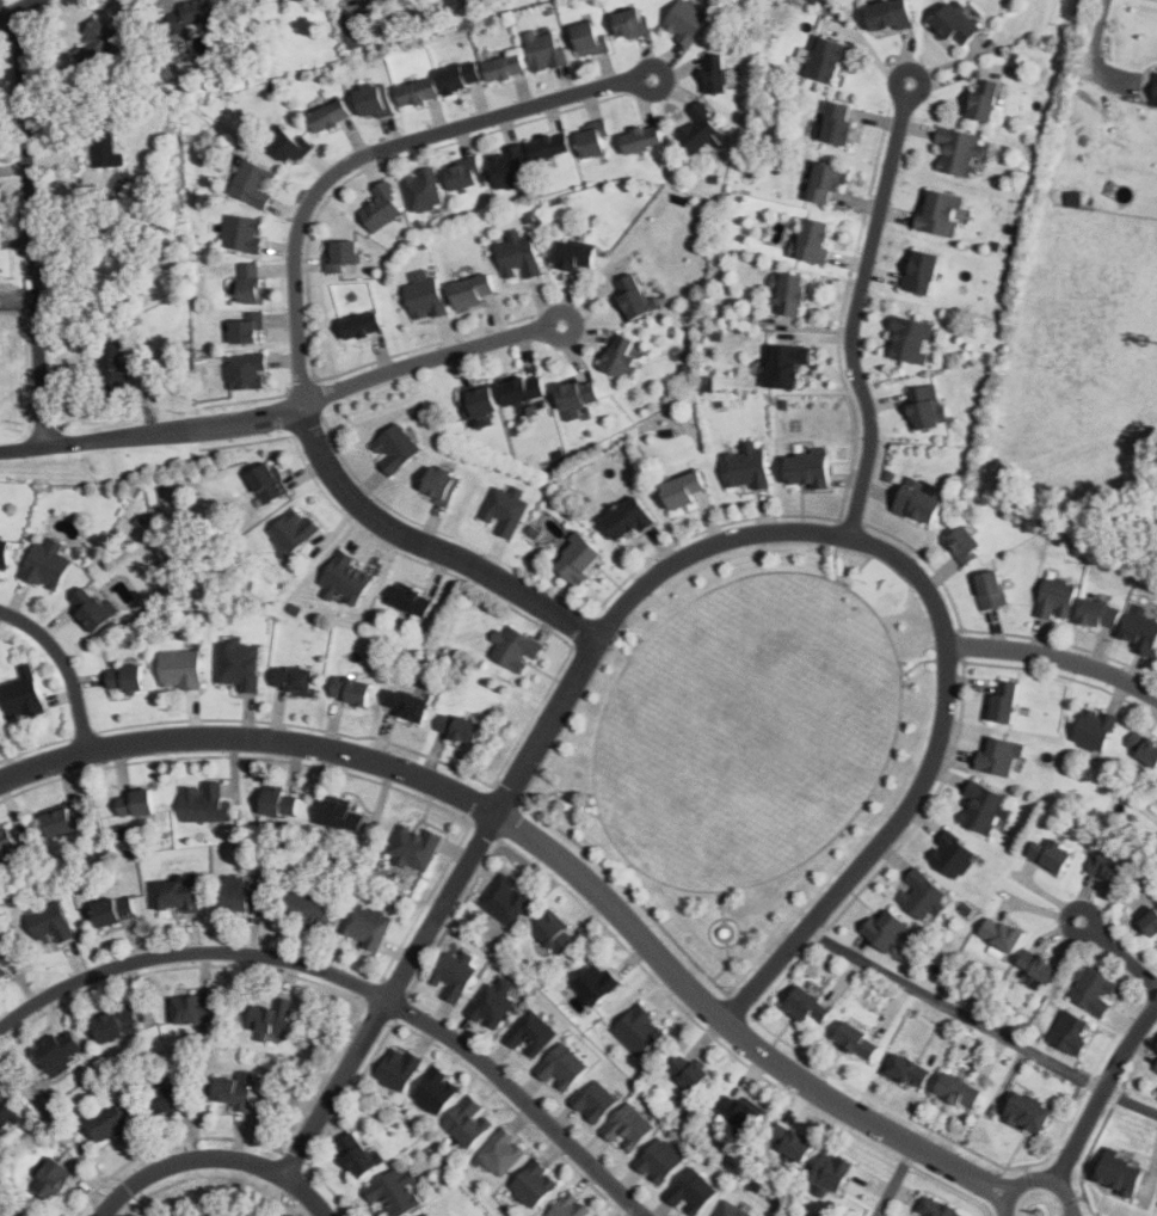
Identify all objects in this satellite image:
building: (291, 0)
building: (297, 0)
road: (12, 6)
building: (196, 13)
building: (891, 14)
building: (394, 16)
building: (688, 20)
building: (633, 23)
building: (956, 25)
building: (355, 36)
building: (400, 37)
building: (590, 39)
building: (99, 45)
building: (544, 50)
road: (1096, 53)
building: (829, 60)
building: (506, 68)
building: (716, 74)
building: (462, 80)
building: (420, 92)
building: (375, 99)
building: (1156, 99)
building: (985, 100)
building: (331, 117)
building: (841, 123)
building: (703, 130)
building: (642, 141)
building: (593, 142)
building: (290, 146)
building: (105, 148)
building: (549, 148)
building: (959, 151)
building: (118, 164)
building: (510, 167)
building: (464, 174)
building: (827, 182)
building: (256, 183)
building: (424, 190)
building: (1075, 197)
building: (152, 204)
building: (382, 207)
building: (943, 213)
road: (31, 226)
building: (244, 234)
building: (814, 240)
building: (997, 245)
building: (341, 254)
building: (521, 256)
building: (576, 256)
building: (923, 271)
building: (252, 282)
building: (474, 290)
building: (789, 294)
building: (634, 296)
building: (426, 297)
road: (857, 306)
road: (300, 312)
building: (362, 325)
building: (248, 330)
building: (912, 339)
building: (622, 358)
building: (787, 366)
building: (247, 370)
building: (113, 371)
building: (190, 371)
building: (704, 382)
road: (345, 387)
building: (524, 389)
building: (579, 394)
building: (480, 401)
building: (927, 407)
road: (63, 443)
building: (395, 448)
building: (747, 466)
building: (810, 469)
building: (443, 483)
building: (267, 484)
building: (685, 487)
building: (922, 500)
building: (505, 510)
building: (629, 517)
building: (529, 529)
building: (294, 530)
building: (966, 543)
road: (695, 546)
building: (5, 552)
building: (579, 558)
building: (48, 564)
building: (346, 578)
building: (991, 589)
building: (1058, 597)
building: (412, 598)
building: (92, 608)
building: (1100, 613)
building: (1141, 630)
building: (516, 647)
building: (1156, 650)
road: (1053, 657)
road: (69, 664)
building: (240, 664)
building: (181, 670)
building: (127, 677)
building: (295, 678)
building: (352, 689)
building: (23, 694)
building: (1004, 700)
building: (407, 704)
building: (460, 726)
building: (1095, 729)
building: (1144, 747)
building: (1002, 756)
building: (1155, 782)
building: (205, 802)
building: (281, 802)
building: (136, 803)
building: (985, 806)
building: (344, 815)
building: (68, 819)
building: (6, 841)
building: (416, 846)
road: (548, 849)
building: (1053, 853)
building: (954, 854)
building: (1108, 866)
building: (180, 891)
building: (242, 892)
building: (923, 893)
building: (506, 898)
building: (309, 905)
building: (116, 909)
building: (1151, 921)
building: (51, 923)
building: (368, 925)
building: (886, 928)
building: (556, 933)
building: (1002, 934)
road: (1119, 952)
building: (6, 956)
building: (1042, 966)
building: (454, 975)
road: (353, 983)
building: (597, 983)
building: (1095, 990)
building: (493, 1002)
building: (808, 1005)
building: (196, 1007)
building: (272, 1017)
building: (118, 1022)
road: (979, 1022)
building: (640, 1030)
building: (1073, 1031)
building: (531, 1032)
building: (858, 1040)
building: (61, 1050)
building: (562, 1065)
building: (400, 1067)
building: (1156, 1068)
building: (909, 1069)
building: (690, 1070)
building: (437, 1091)
building: (961, 1091)
building: (1155, 1091)
building: (235, 1092)
road: (1103, 1093)
building: (171, 1097)
building: (595, 1099)
building: (740, 1111)
building: (1030, 1112)
building: (6, 1116)
building: (110, 1122)
building: (469, 1122)
building: (628, 1126)
building: (792, 1140)
building: (503, 1151)
road: (211, 1154)
building: (358, 1154)
building: (660, 1160)
building: (1122, 1172)
building: (833, 1174)
building: (53, 1178)
road: (1038, 1178)
road: (893, 1180)
building: (535, 1184)
building: (693, 1190)
building: (395, 1192)
park: (211, 1194)
road: (283, 1198)
road: (136, 1200)
building: (571, 1206)
building: (938, 1208)
building: (732, 1210)
building: (431, 1214)
building: (17, 1215)
building: (424, 1215)
building: (436, 1215)
building: (597, 1215)

